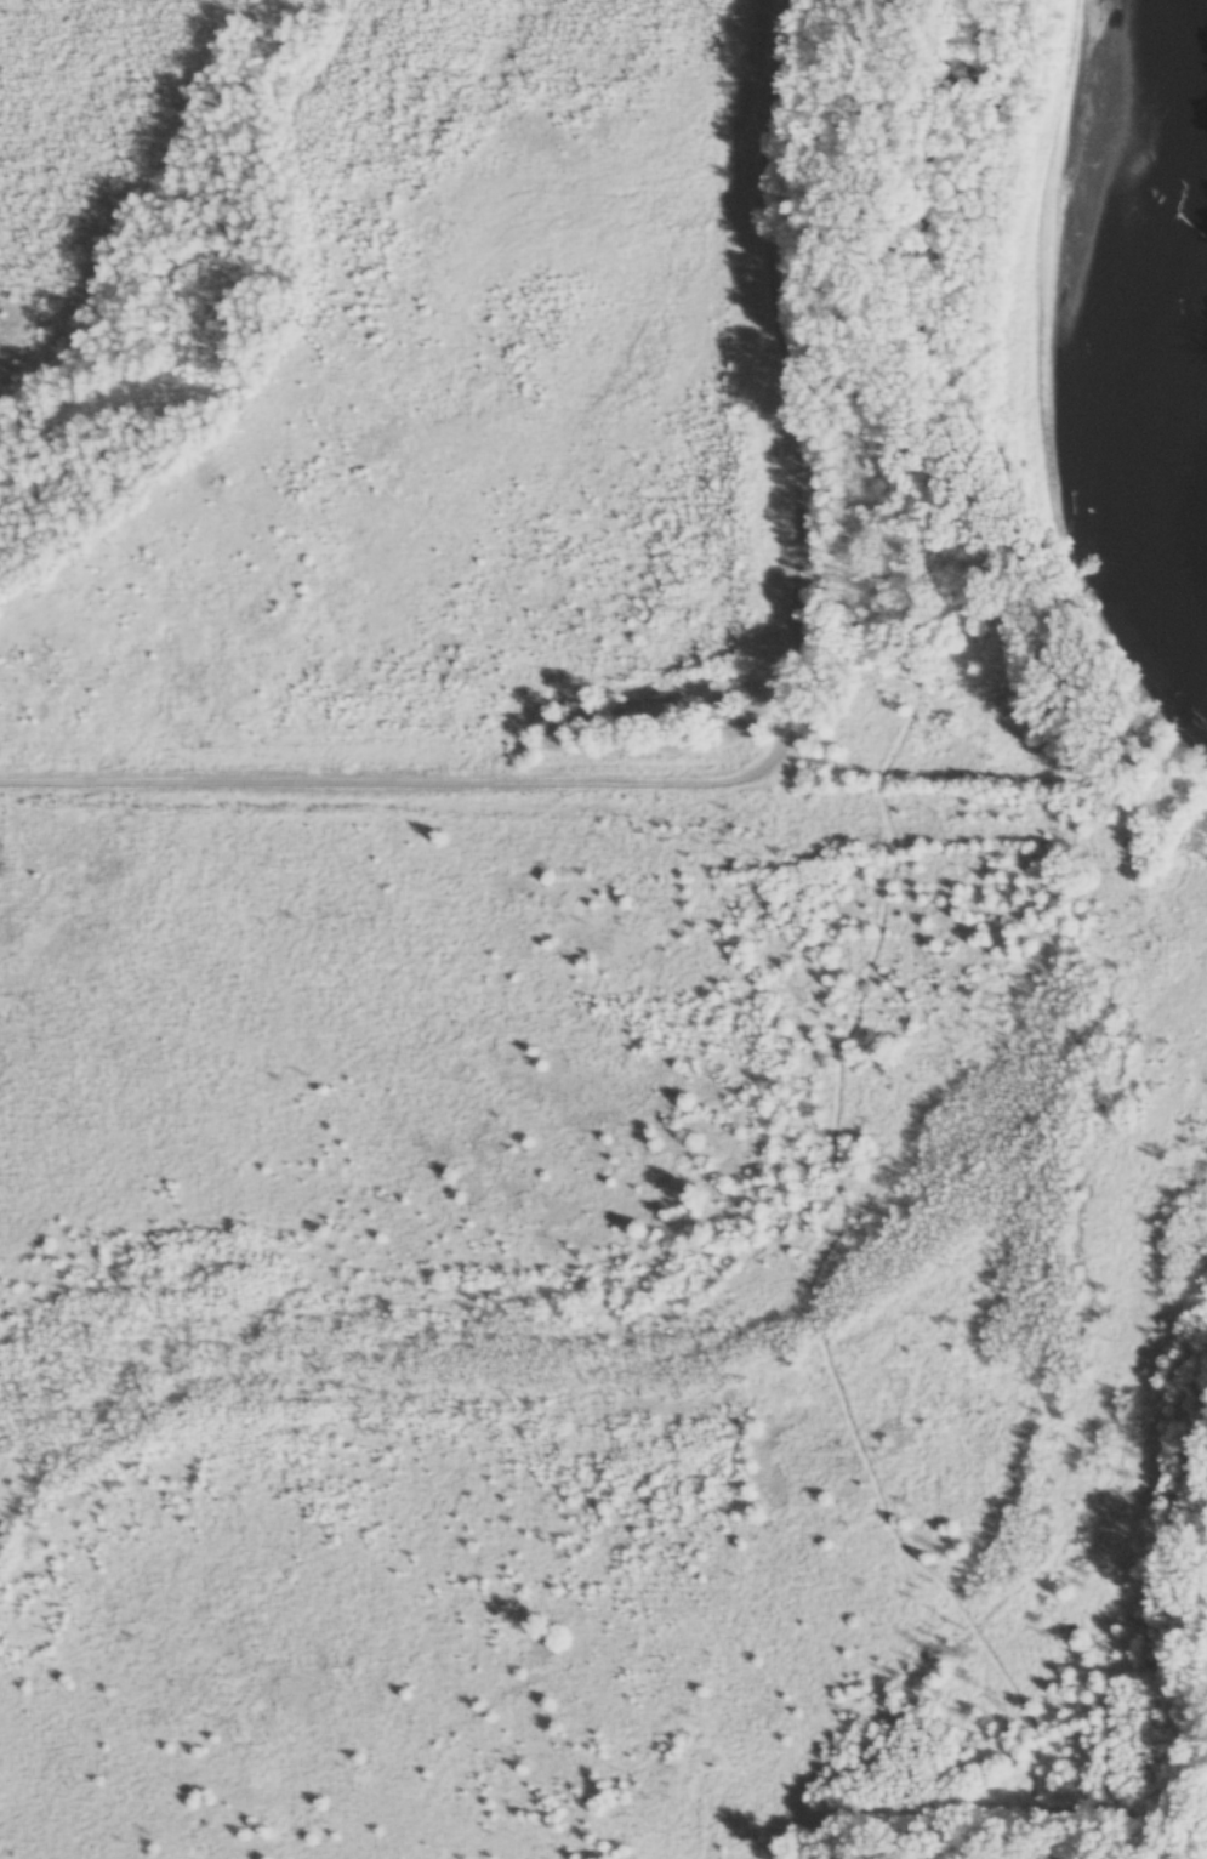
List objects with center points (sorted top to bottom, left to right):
river: (1139, 311)
road: (795, 398)
road: (377, 786)

